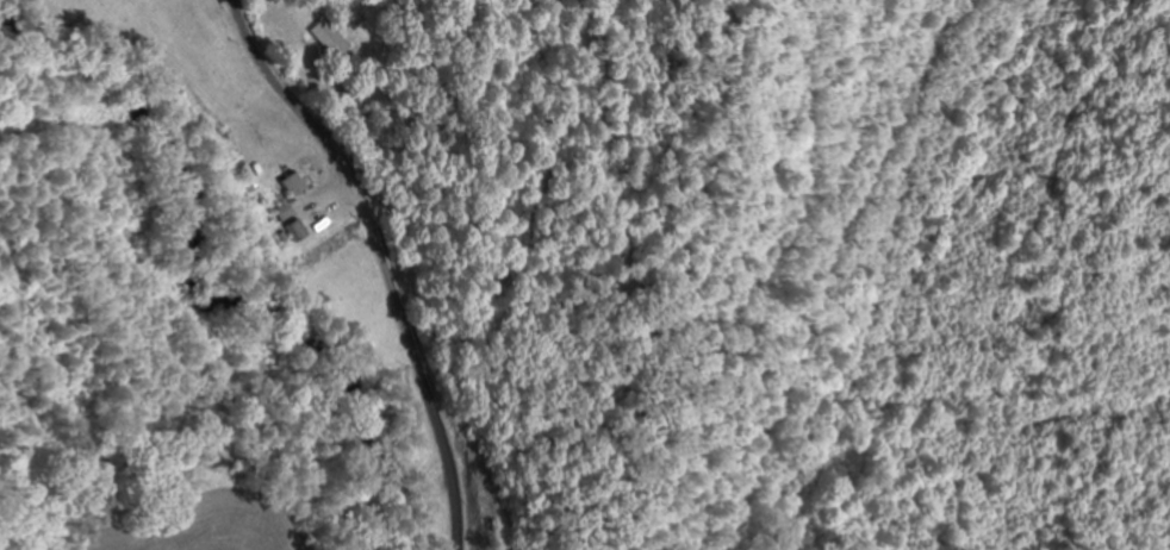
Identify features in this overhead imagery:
building: (290, 185)
road: (386, 257)

